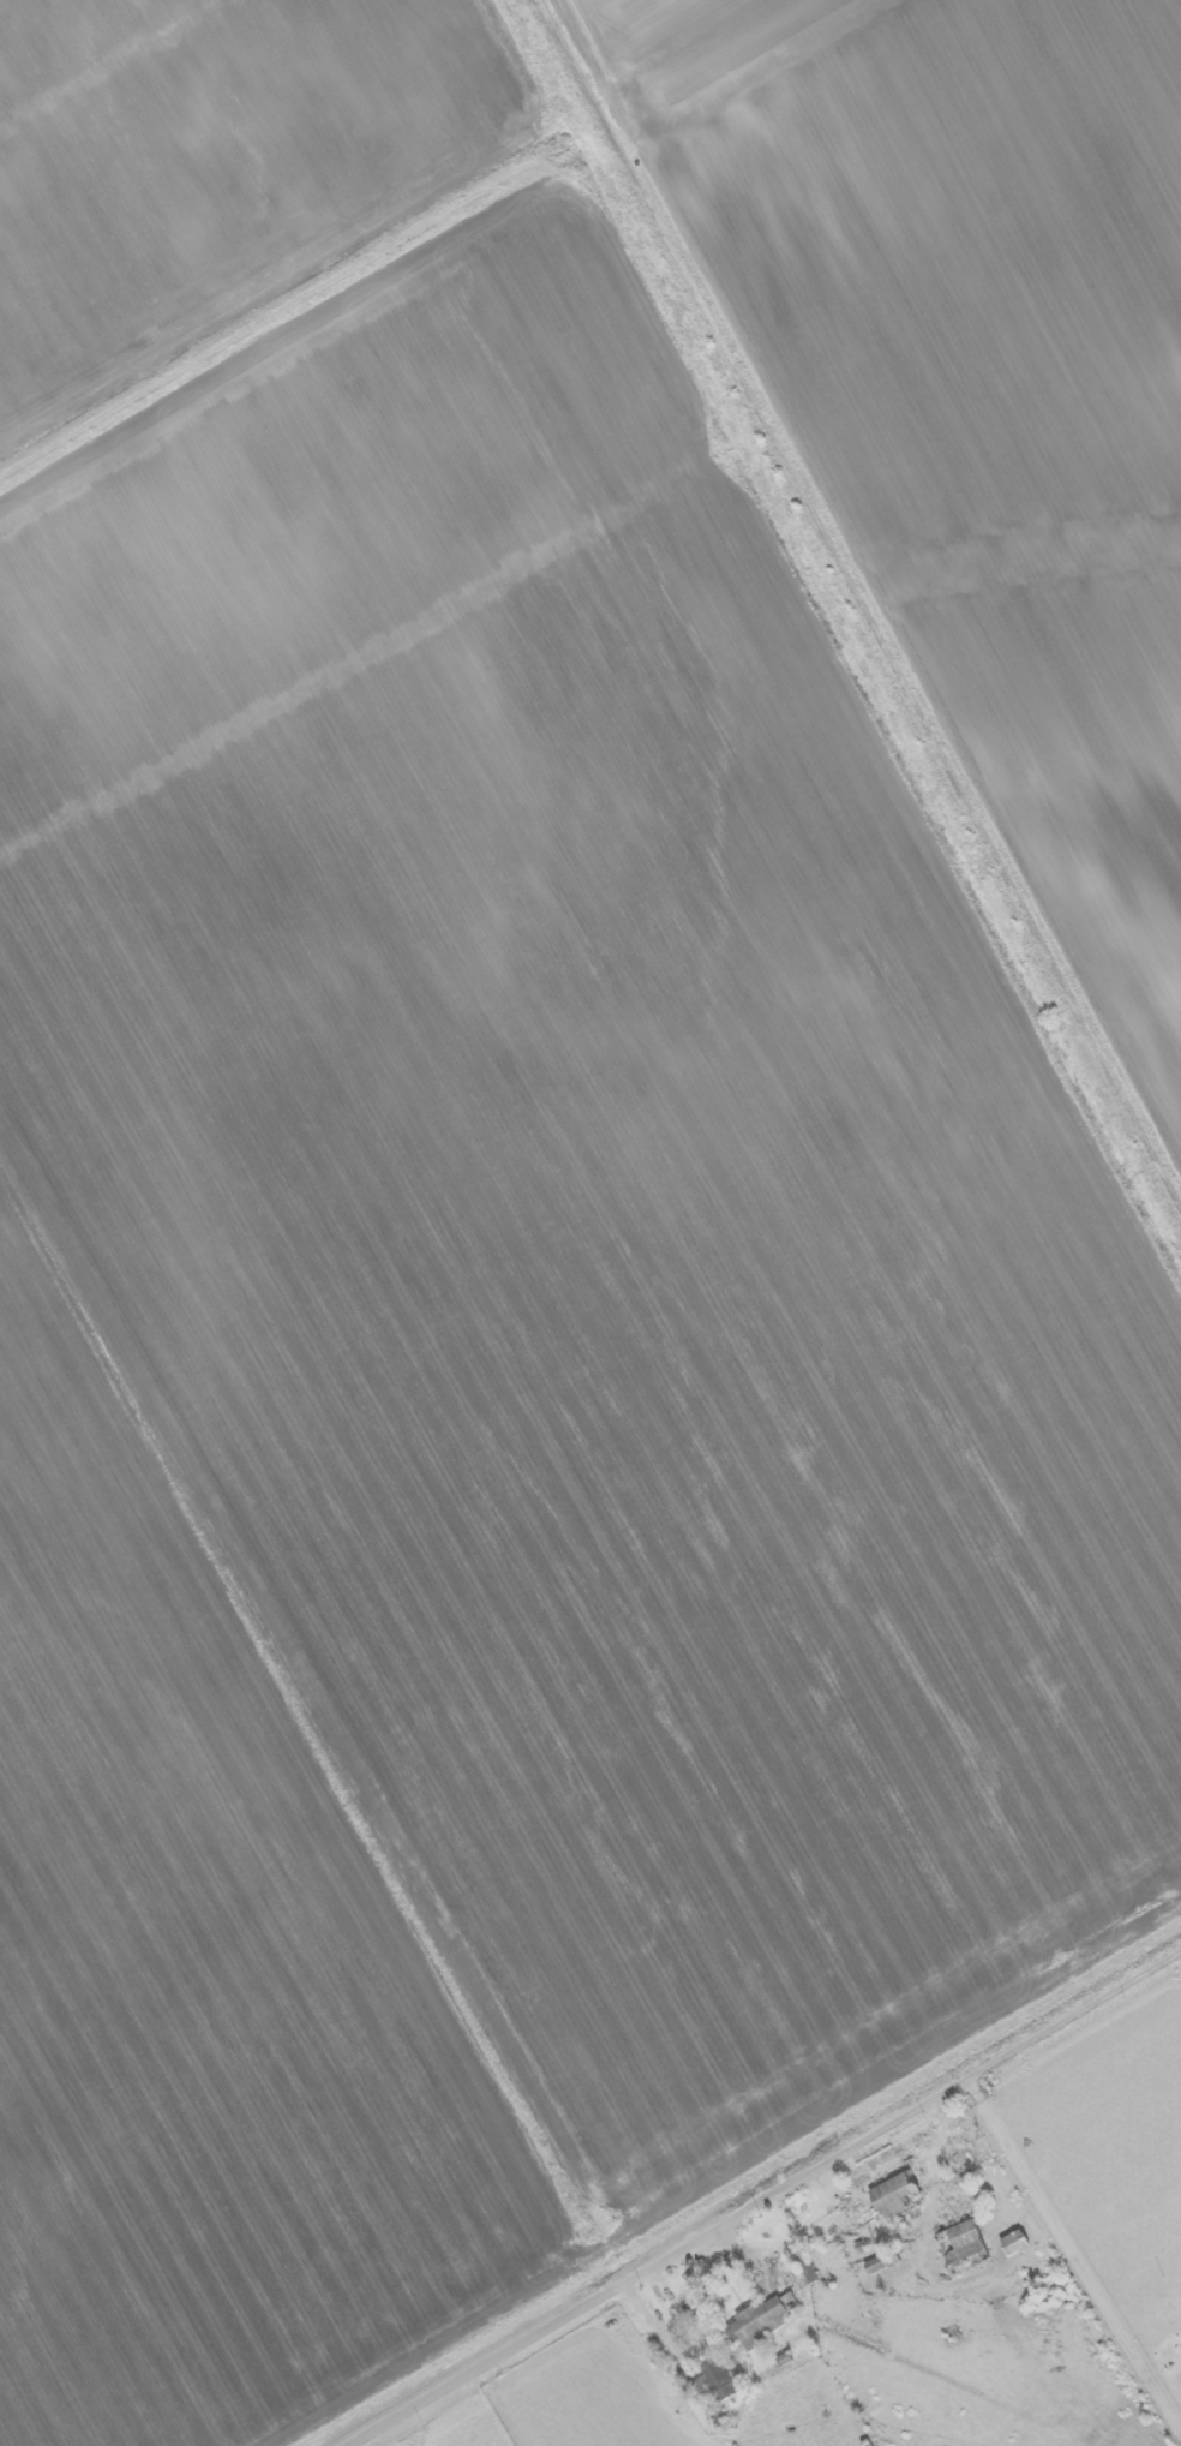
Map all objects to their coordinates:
road: (558, 2316)
building: (717, 2381)

